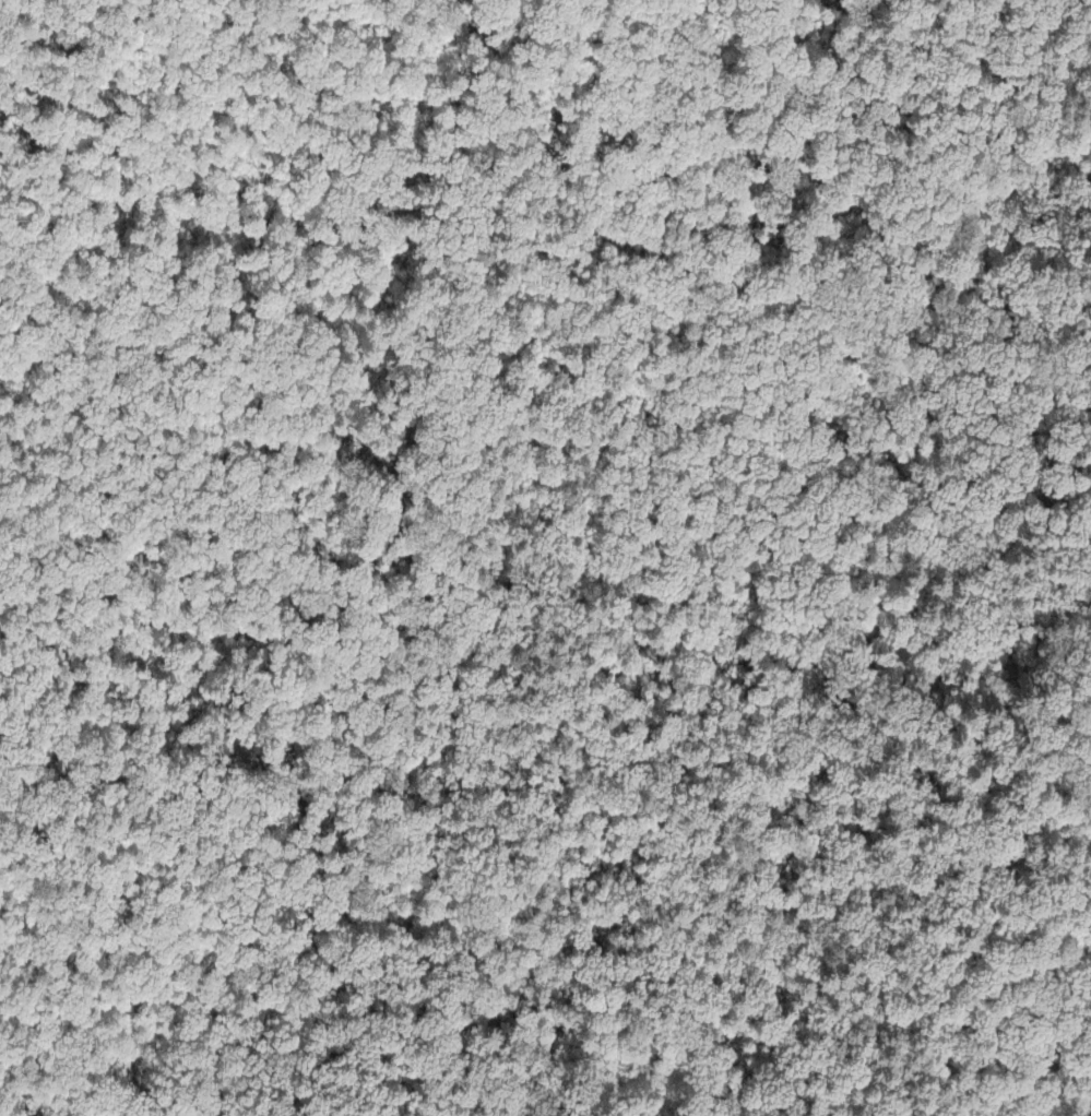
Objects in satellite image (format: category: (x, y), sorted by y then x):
road: (317, 347)

